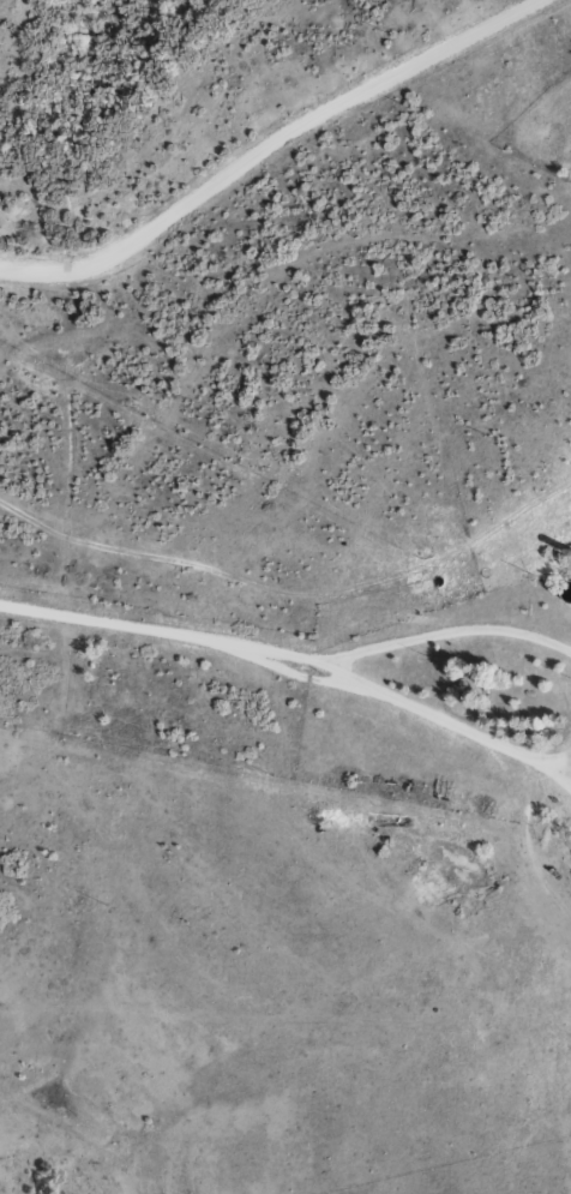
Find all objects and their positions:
road: (265, 145)
road: (174, 631)
road: (446, 631)
road: (295, 674)
road: (456, 725)
road: (555, 773)

